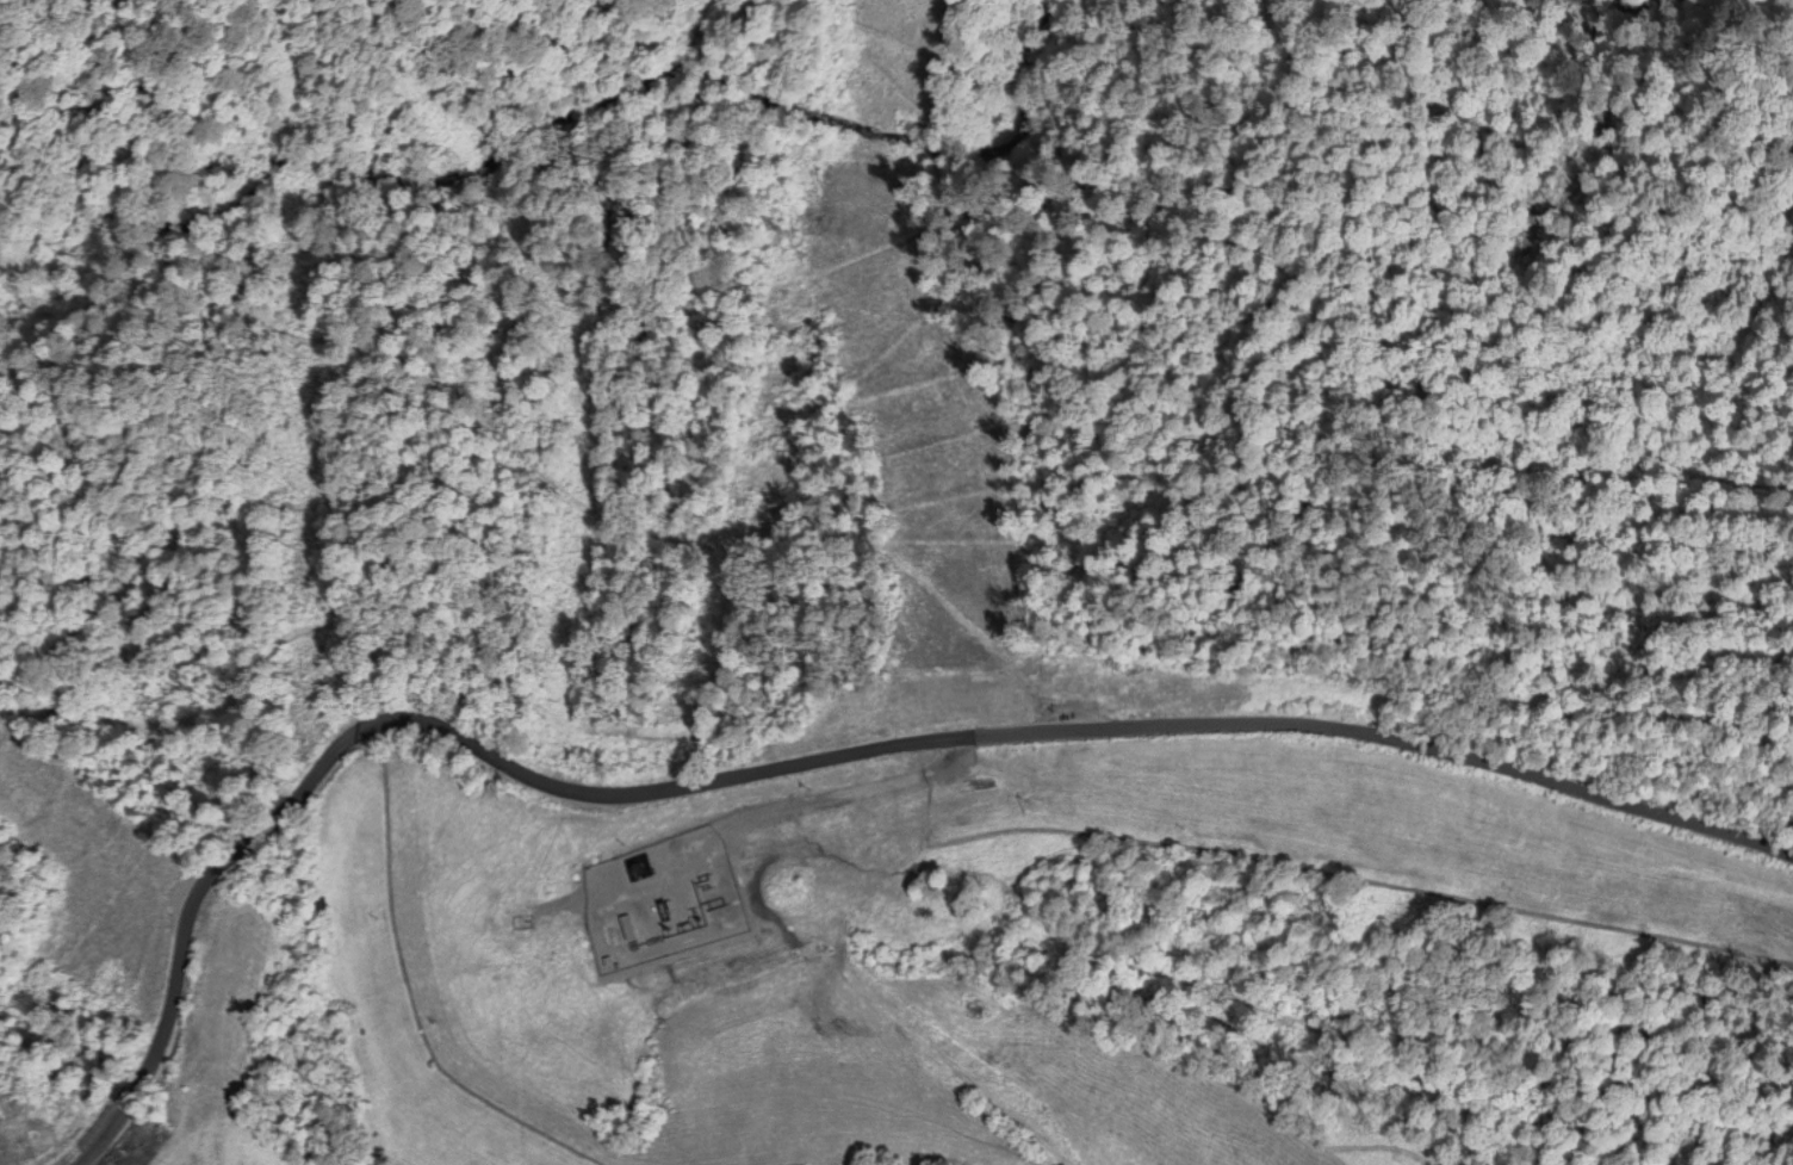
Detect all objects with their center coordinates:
road: (813, 761)

